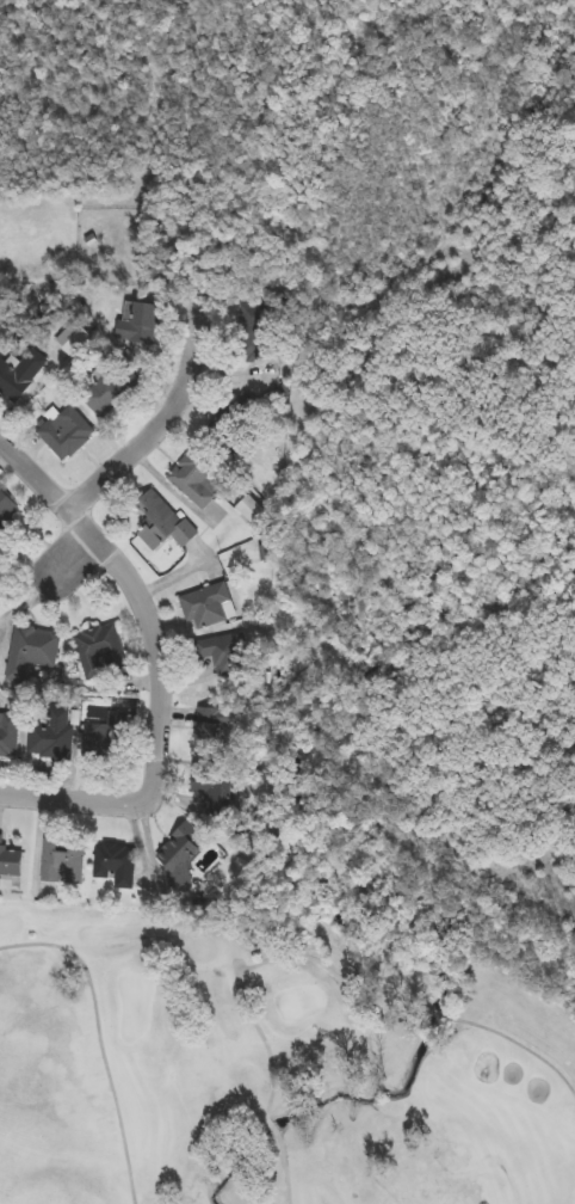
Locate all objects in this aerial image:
building: (143, 324)
building: (255, 325)
building: (18, 376)
building: (110, 391)
building: (235, 418)
road: (161, 423)
building: (68, 434)
building: (196, 479)
building: (7, 509)
building: (162, 521)
road: (85, 559)
road: (141, 591)
building: (206, 607)
building: (32, 651)
building: (101, 651)
building: (227, 655)
building: (215, 725)
building: (115, 733)
building: (8, 735)
building: (45, 743)
building: (215, 792)
road: (76, 798)
building: (180, 858)
building: (10, 861)
building: (63, 862)
building: (117, 865)
road: (305, 962)
road: (103, 1038)
park: (274, 1061)

